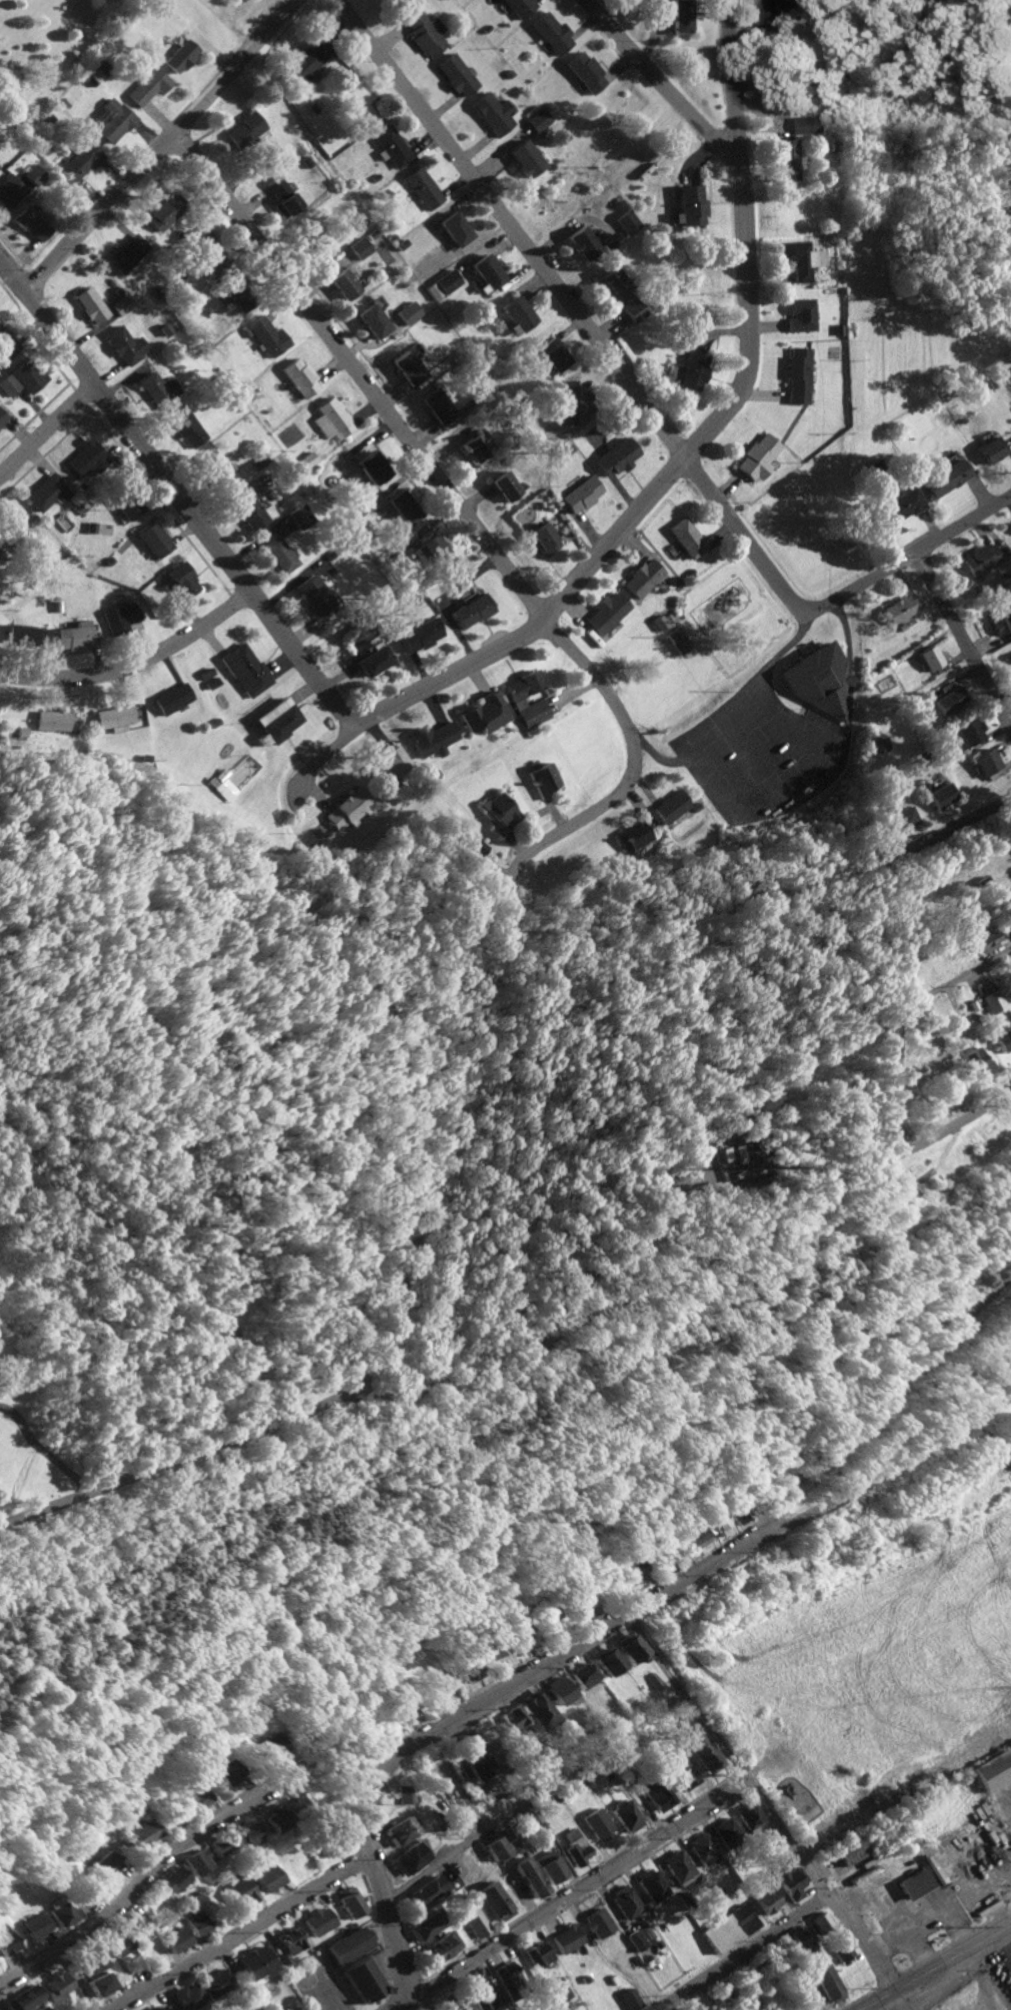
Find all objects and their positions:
building: (520, 6)
building: (777, 12)
building: (680, 16)
road: (227, 22)
building: (424, 32)
building: (551, 32)
building: (179, 55)
building: (304, 62)
building: (586, 71)
building: (457, 74)
building: (146, 82)
road: (661, 88)
building: (492, 113)
building: (109, 120)
building: (538, 120)
building: (805, 125)
building: (241, 130)
road: (158, 146)
building: (390, 146)
building: (525, 159)
building: (780, 160)
building: (79, 161)
building: (32, 174)
building: (421, 188)
building: (9, 189)
building: (280, 197)
building: (686, 206)
building: (163, 213)
building: (625, 222)
building: (31, 224)
building: (453, 229)
building: (308, 236)
building: (580, 243)
building: (358, 248)
building: (207, 250)
building: (126, 254)
building: (799, 258)
building: (485, 271)
building: (342, 284)
building: (441, 284)
building: (238, 294)
building: (618, 295)
building: (90, 305)
building: (120, 305)
road: (568, 306)
building: (408, 313)
building: (516, 313)
building: (800, 315)
building: (371, 321)
building: (267, 336)
building: (6, 343)
building: (125, 345)
building: (549, 354)
building: (406, 368)
building: (691, 371)
building: (27, 375)
building: (796, 375)
building: (299, 378)
building: (8, 384)
building: (156, 389)
building: (436, 405)
building: (1, 417)
building: (330, 420)
building: (183, 427)
road: (45, 428)
building: (475, 447)
building: (992, 450)
building: (85, 457)
building: (757, 457)
building: (614, 458)
building: (305, 460)
building: (215, 468)
building: (371, 468)
road: (666, 476)
building: (945, 478)
building: (502, 486)
building: (45, 492)
building: (579, 494)
road: (173, 495)
building: (127, 506)
building: (900, 506)
building: (402, 507)
building: (246, 511)
building: (299, 517)
road: (468, 518)
building: (15, 526)
building: (686, 538)
building: (541, 539)
building: (153, 540)
building: (435, 552)
building: (276, 554)
road: (909, 556)
building: (980, 559)
building: (643, 578)
building: (180, 580)
building: (311, 595)
building: (899, 609)
building: (469, 611)
building: (606, 613)
park: (733, 615)
building: (118, 619)
building: (659, 622)
building: (999, 622)
building: (19, 633)
building: (416, 635)
building: (73, 636)
building: (678, 640)
road: (963, 640)
building: (928, 658)
building: (1009, 660)
building: (370, 661)
road: (133, 665)
road: (768, 667)
building: (244, 670)
building: (205, 673)
building: (818, 681)
building: (211, 683)
building: (944, 686)
road: (848, 693)
building: (171, 698)
building: (948, 700)
building: (516, 701)
building: (483, 714)
building: (112, 718)
building: (276, 720)
building: (50, 721)
building: (963, 734)
building: (431, 740)
building: (878, 744)
parking lot: (761, 755)
building: (985, 764)
building: (388, 765)
road: (727, 775)
building: (541, 780)
building: (937, 796)
building: (670, 806)
building: (347, 809)
building: (497, 813)
building: (898, 820)
road: (962, 822)
building: (629, 836)
building: (465, 847)
building: (1003, 925)
building: (979, 938)
building: (990, 1001)
road: (898, 1019)
building: (1003, 1040)
building: (975, 1063)
road: (955, 1123)
building: (722, 1154)
building: (736, 1154)
road: (620, 1251)
park: (189, 1277)
road: (636, 1298)
road: (385, 1327)
road: (880, 1406)
road: (42, 1451)
building: (746, 1512)
building: (725, 1523)
building: (699, 1536)
building: (667, 1550)
building: (639, 1569)
building: (554, 1613)
building: (525, 1628)
road: (597, 1638)
building: (633, 1646)
building: (499, 1649)
building: (611, 1660)
building: (474, 1670)
building: (587, 1675)
building: (562, 1691)
building: (403, 1707)
building: (539, 1710)
building: (514, 1718)
building: (278, 1747)
building: (704, 1751)
building: (475, 1757)
building: (680, 1769)
building: (993, 1769)
building: (236, 1772)
building: (596, 1776)
building: (657, 1792)
building: (408, 1794)
road: (535, 1798)
building: (204, 1799)
building: (296, 1804)
road: (763, 1805)
building: (626, 1815)
building: (749, 1815)
building: (278, 1819)
building: (178, 1820)
building: (597, 1824)
building: (401, 1831)
building: (152, 1832)
building: (726, 1832)
building: (249, 1835)
road: (186, 1844)
building: (335, 1844)
building: (223, 1845)
building: (498, 1847)
building: (575, 1847)
building: (703, 1850)
building: (850, 1853)
building: (409, 1859)
building: (200, 1862)
building: (113, 1866)
building: (548, 1866)
building: (677, 1866)
building: (529, 1877)
building: (177, 1878)
building: (273, 1878)
building: (467, 1878)
building: (789, 1882)
building: (651, 1885)
building: (914, 1885)
building: (244, 1892)
building: (425, 1892)
road: (570, 1895)
building: (767, 1900)
building: (495, 1901)
building: (625, 1901)
building: (352, 1903)
building: (68, 1914)
building: (320, 1921)
building: (820, 1921)
building: (199, 1923)
building: (597, 1923)
building: (475, 1924)
building: (140, 1925)
building: (39, 1926)
building: (424, 1927)
building: (728, 1928)
road: (247, 1935)
building: (801, 1936)
building: (566, 1939)
building: (179, 1940)
building: (10, 1941)
building: (292, 1941)
building: (637, 1941)
building: (119, 1944)
building: (350, 1945)
road: (1004, 1946)
building: (440, 1948)
building: (842, 1949)
road: (741, 1953)
building: (537, 1954)
building: (285, 1961)
building: (92, 1962)
building: (257, 1963)
road: (936, 1968)
building: (506, 1974)
road: (80, 1978)
building: (363, 1979)
building: (218, 1982)
building: (103, 1984)
building: (828, 1984)
building: (59, 1985)
building: (556, 1991)
building: (485, 1994)
building: (191, 1997)
building: (26, 1999)
building: (630, 1999)
road: (424, 2001)
building: (456, 2004)
building: (160, 2007)
building: (46, 2008)

